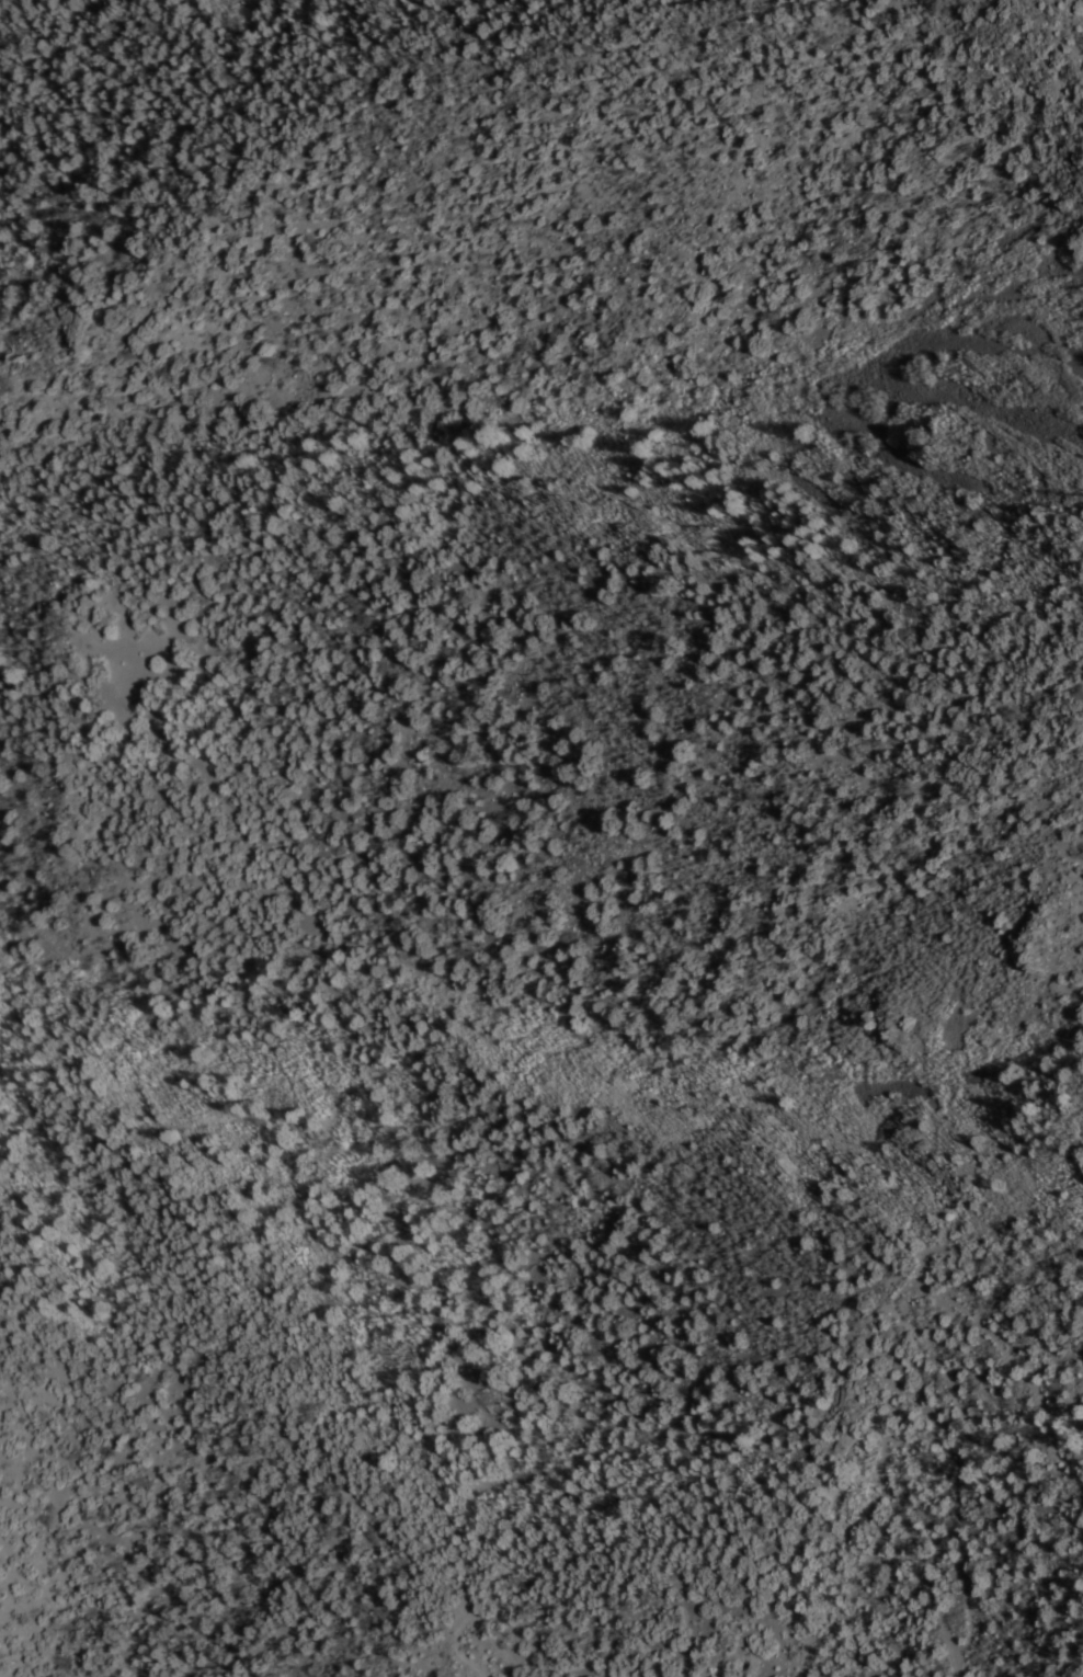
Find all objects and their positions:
road: (807, 1398)
mineshaft: (264, 1532)

